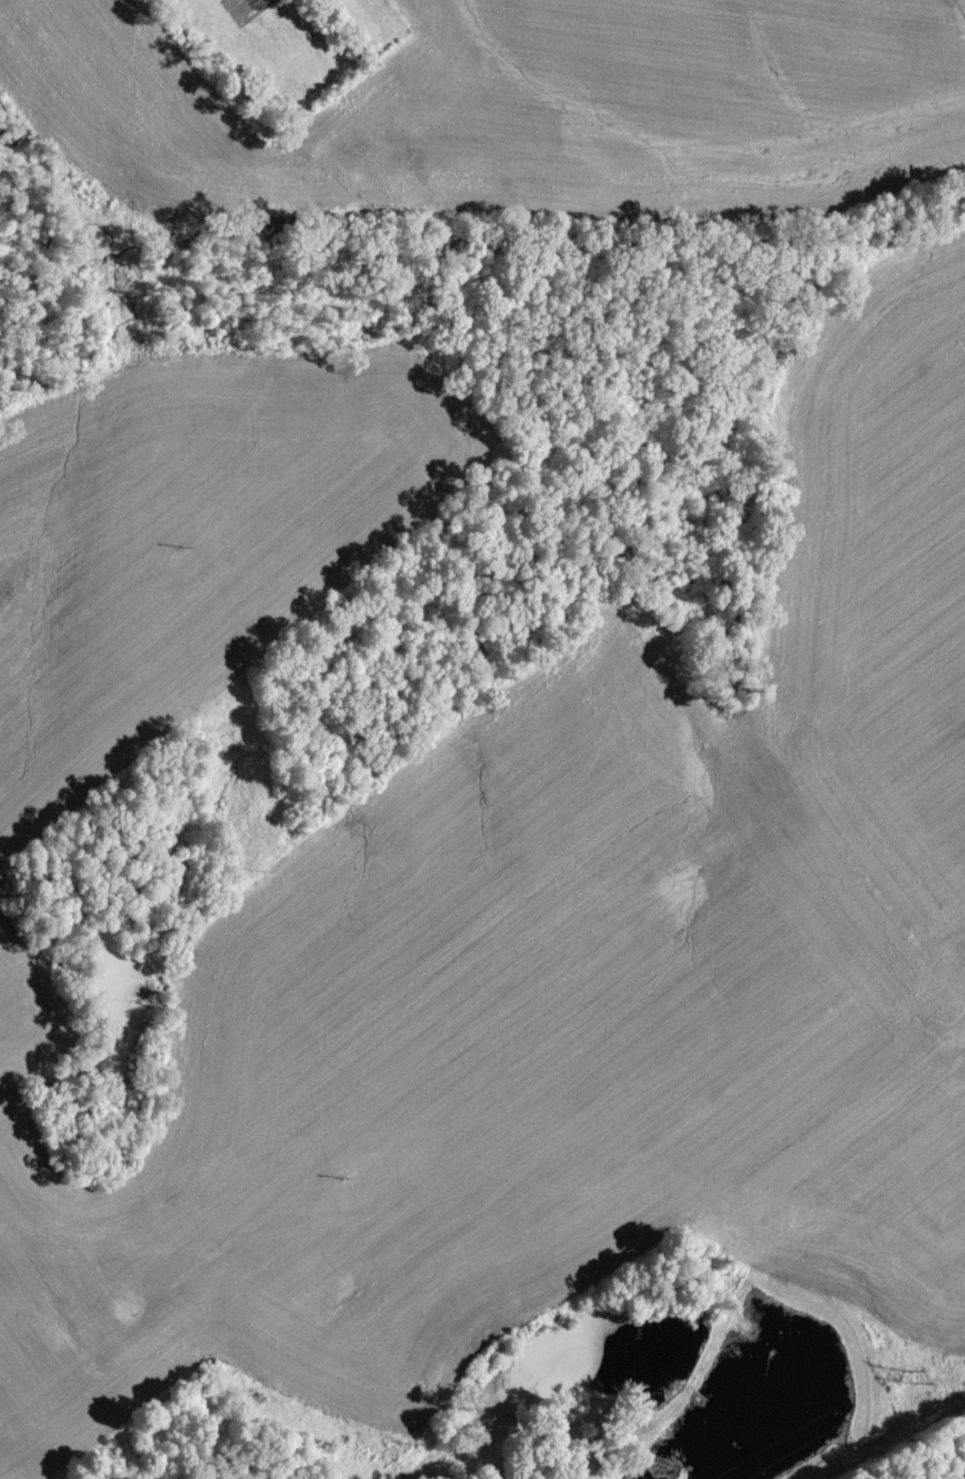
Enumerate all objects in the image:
power tower: (912, 1382)

